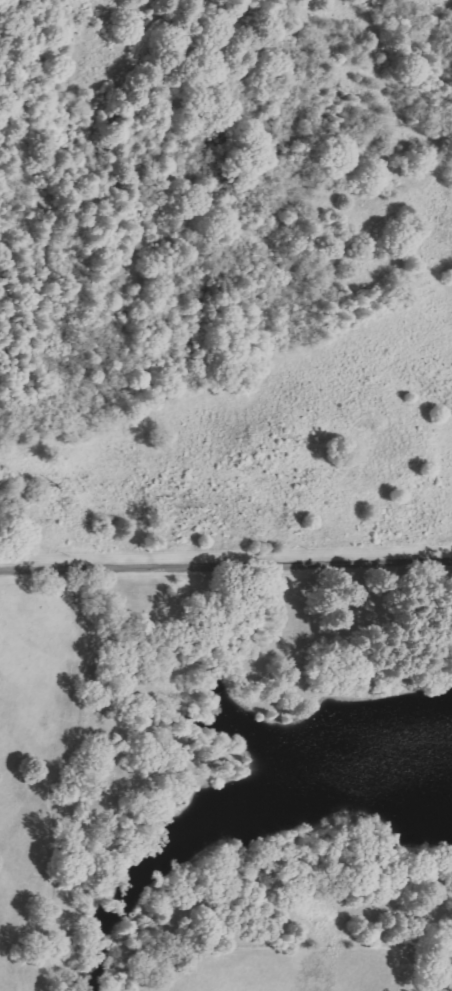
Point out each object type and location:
road: (225, 566)

